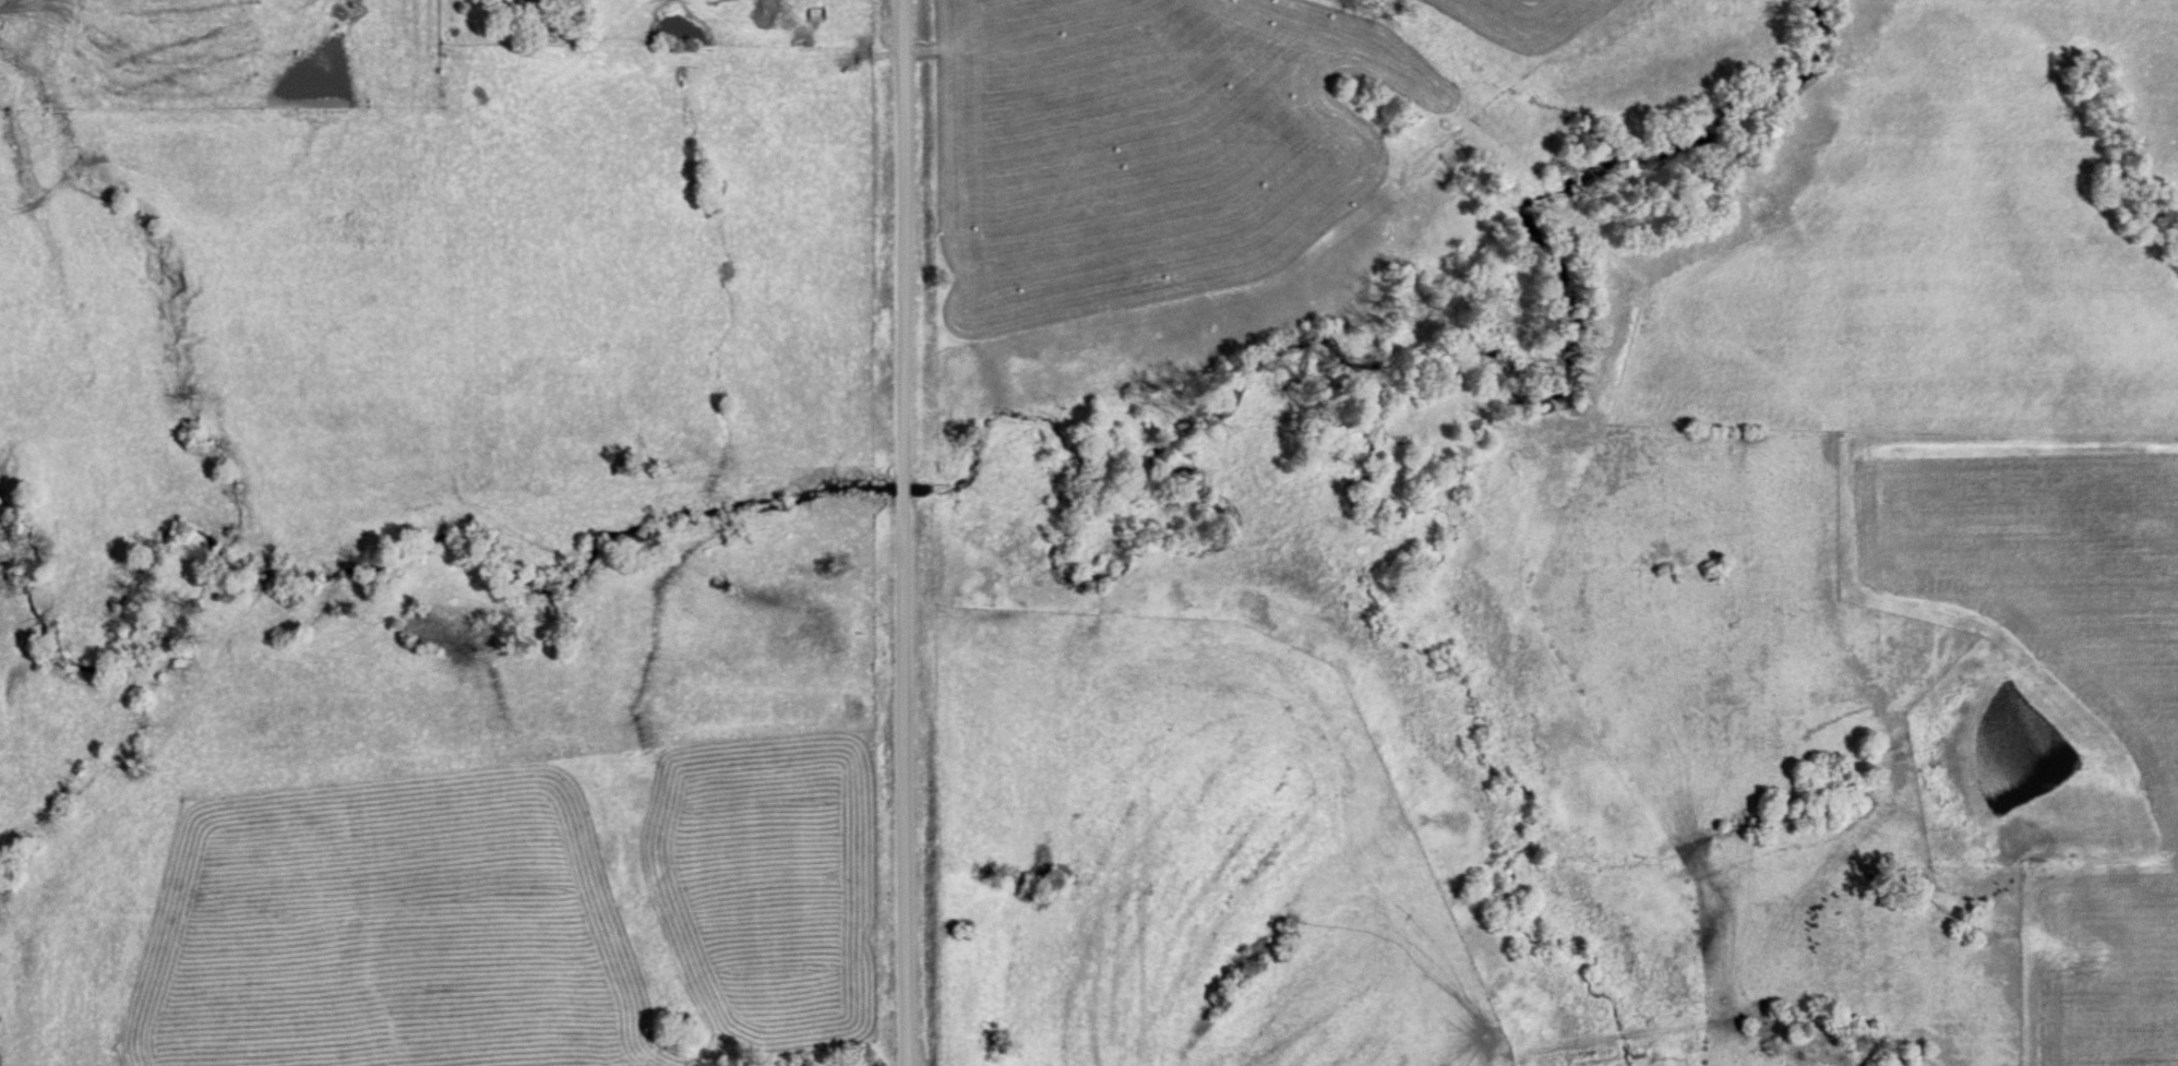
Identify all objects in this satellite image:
road: (903, 532)

